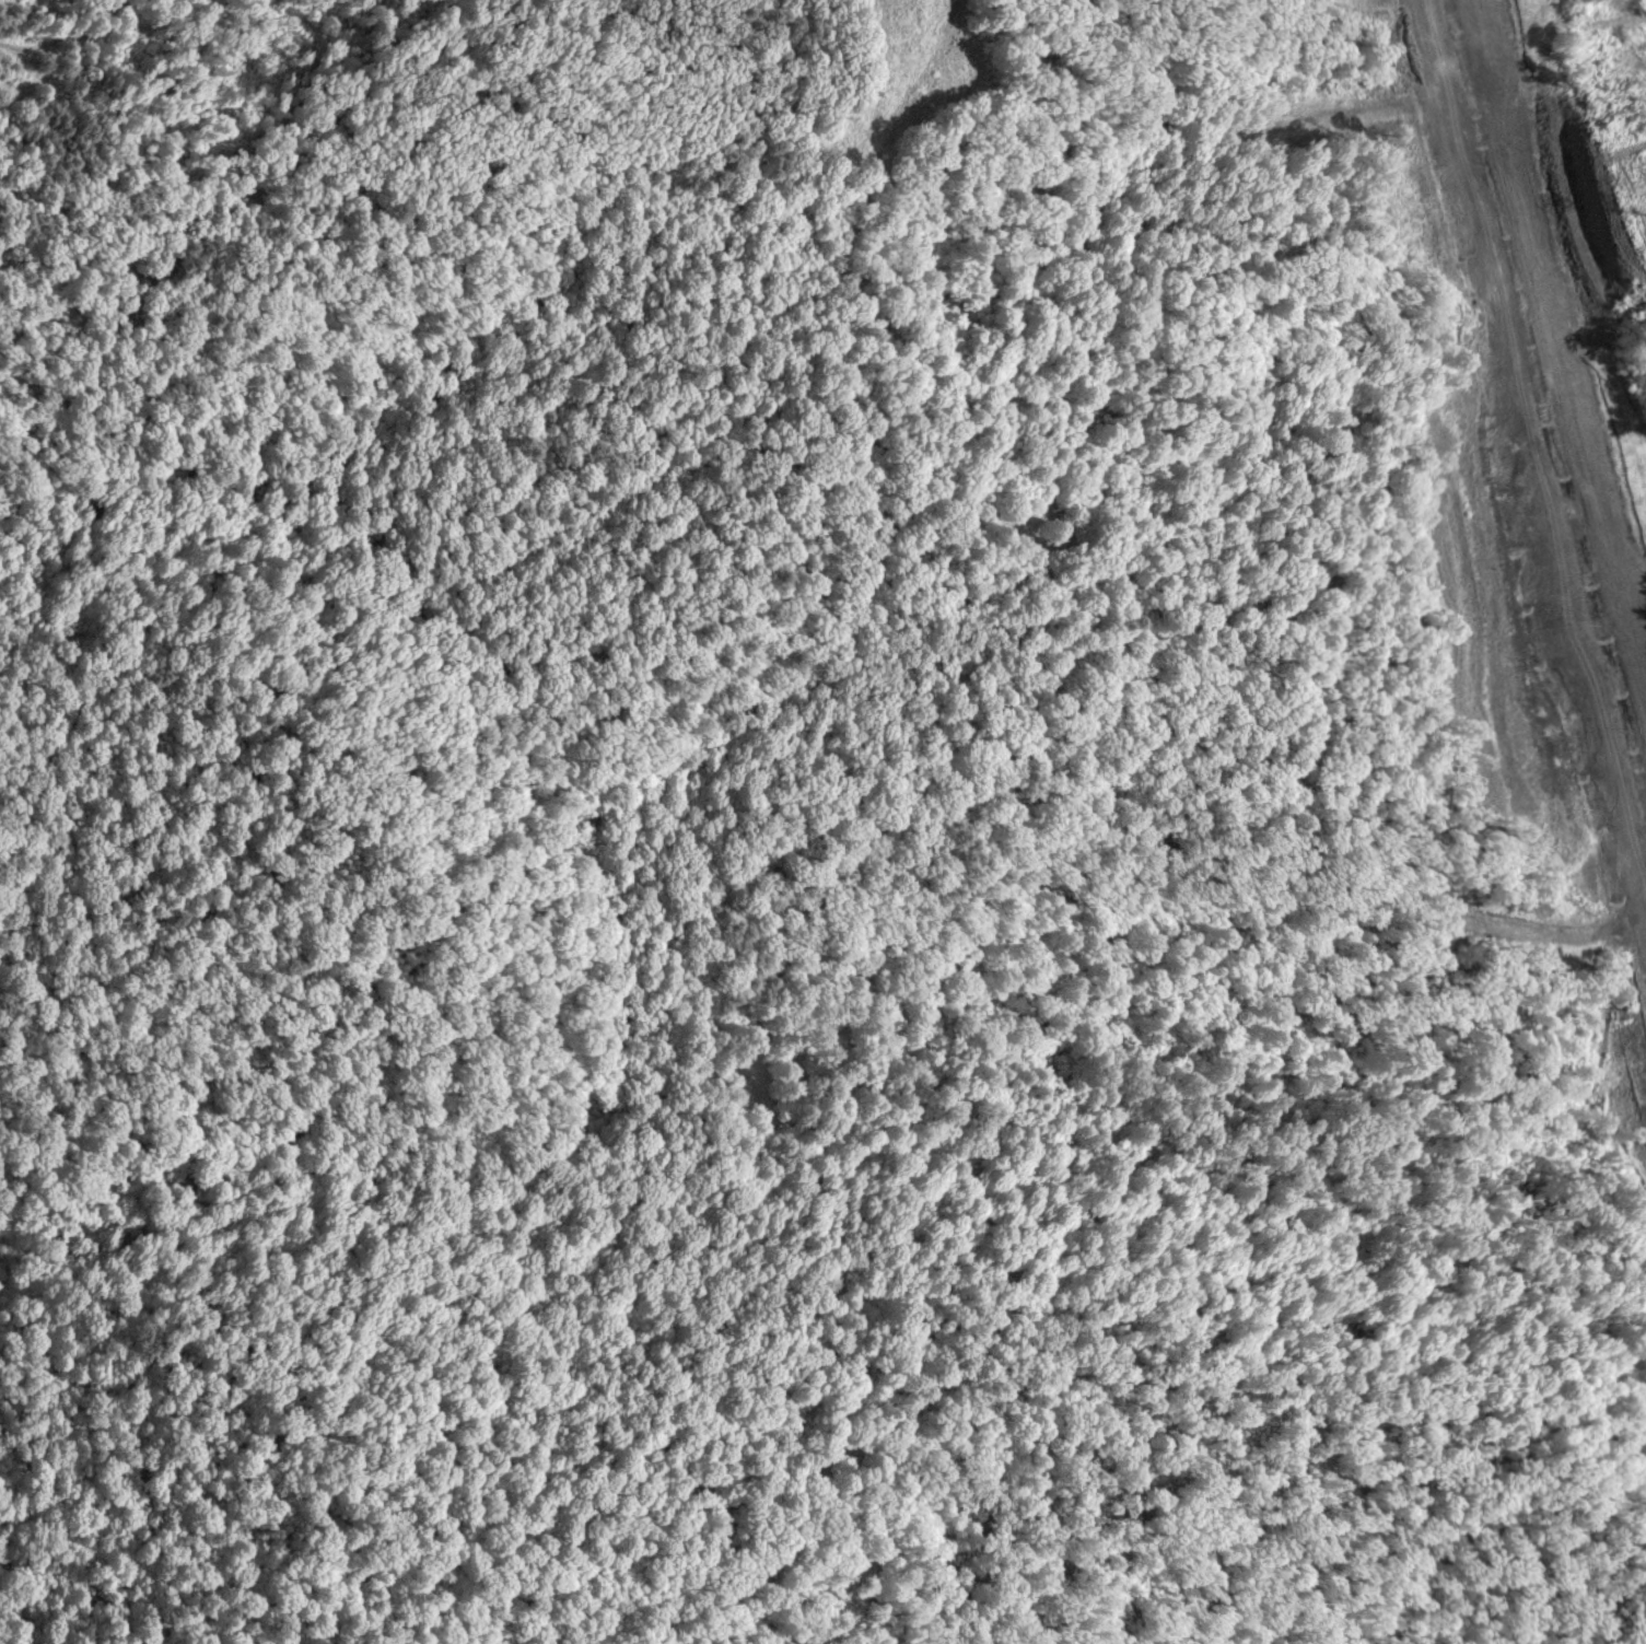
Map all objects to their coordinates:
road: (1560, 339)
road: (1532, 458)

